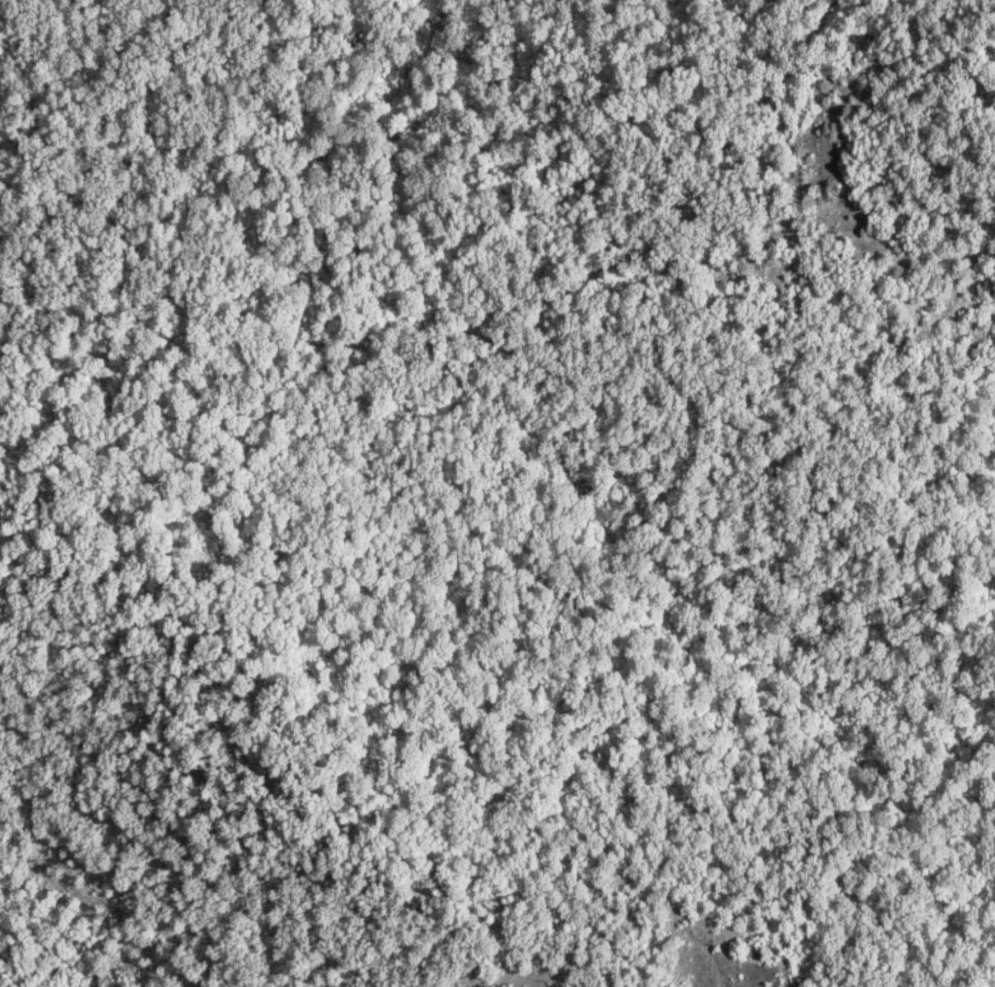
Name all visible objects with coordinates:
road: (472, 320)

